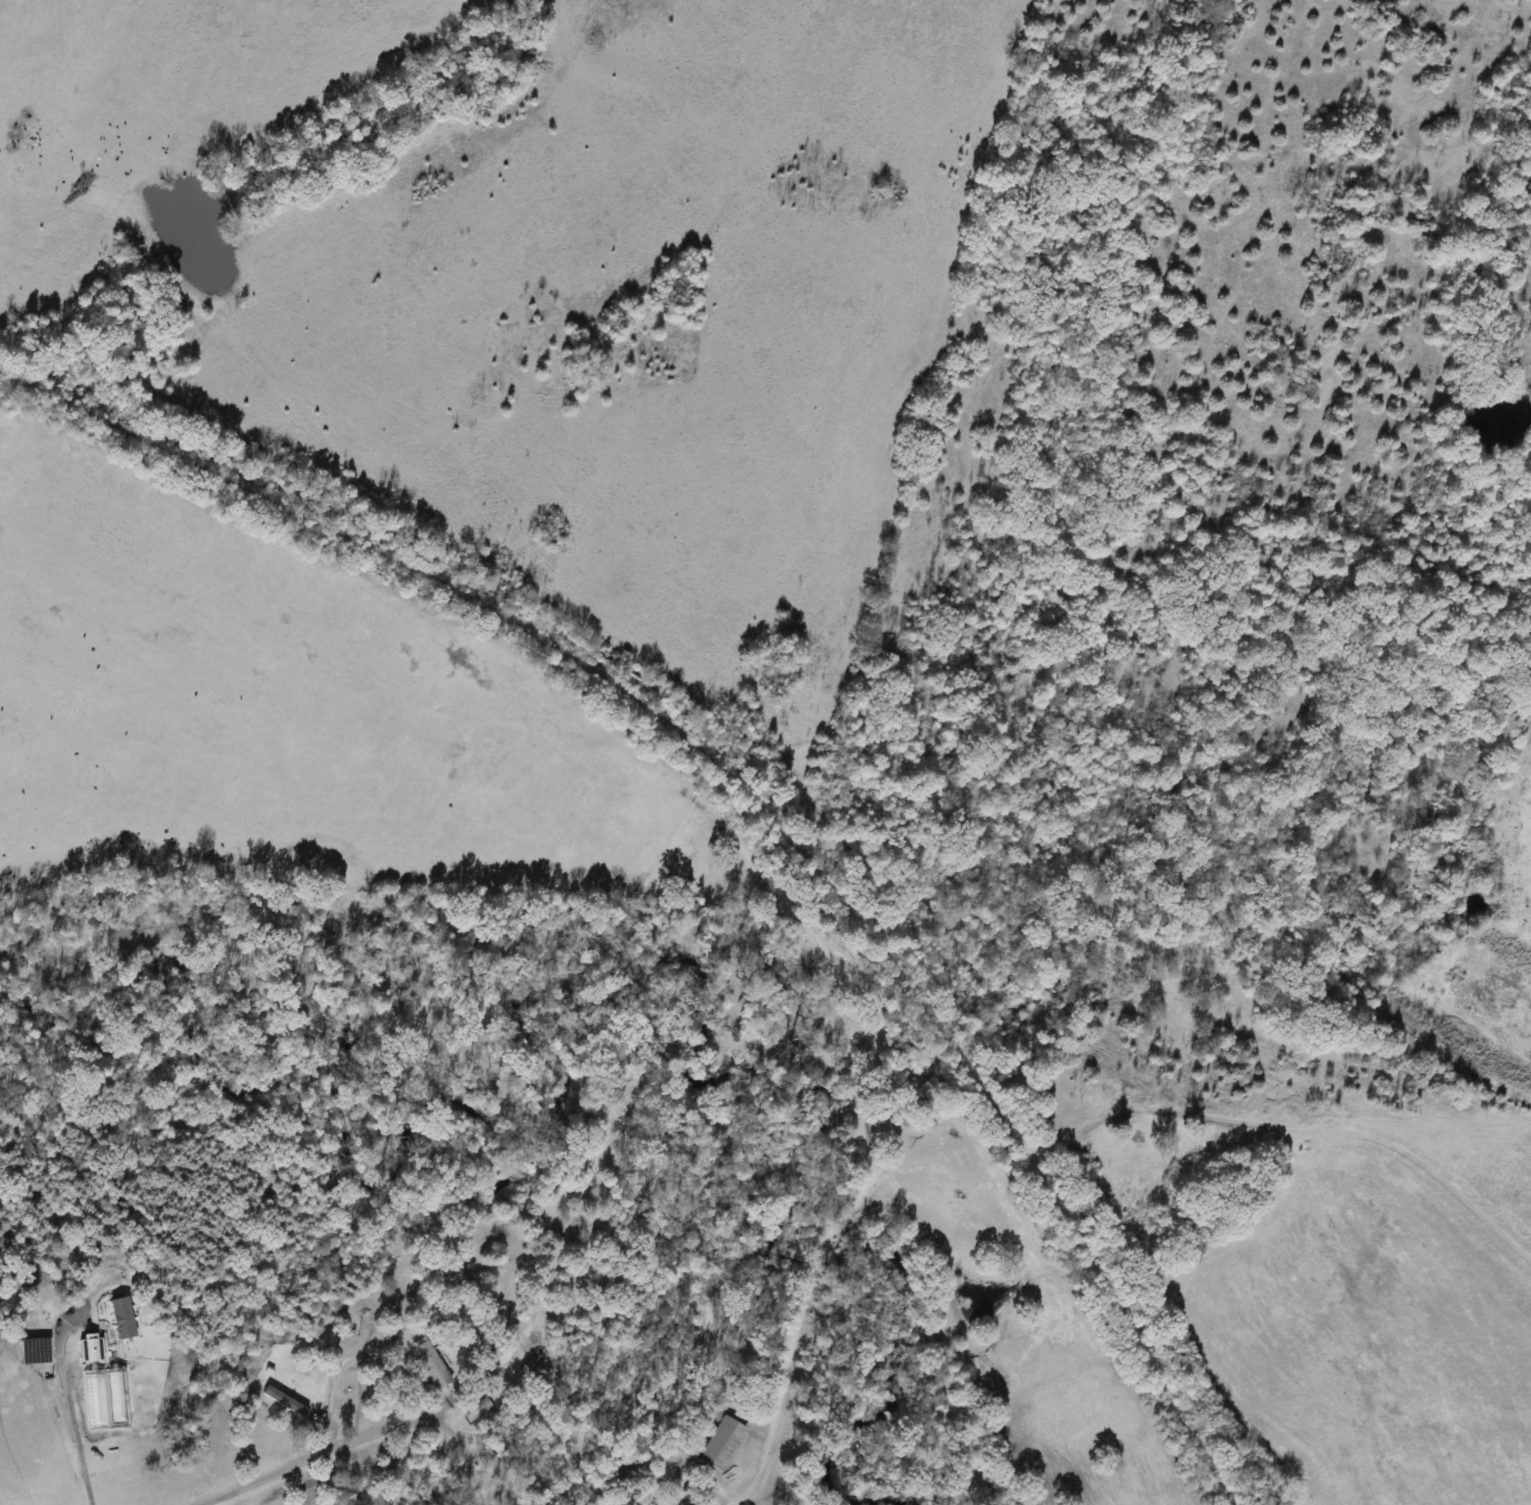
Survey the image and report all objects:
railway: (756, 777)
road: (397, 1360)
building: (430, 1364)
road: (66, 1386)
building: (722, 1442)
road: (462, 1445)
road: (267, 1476)

